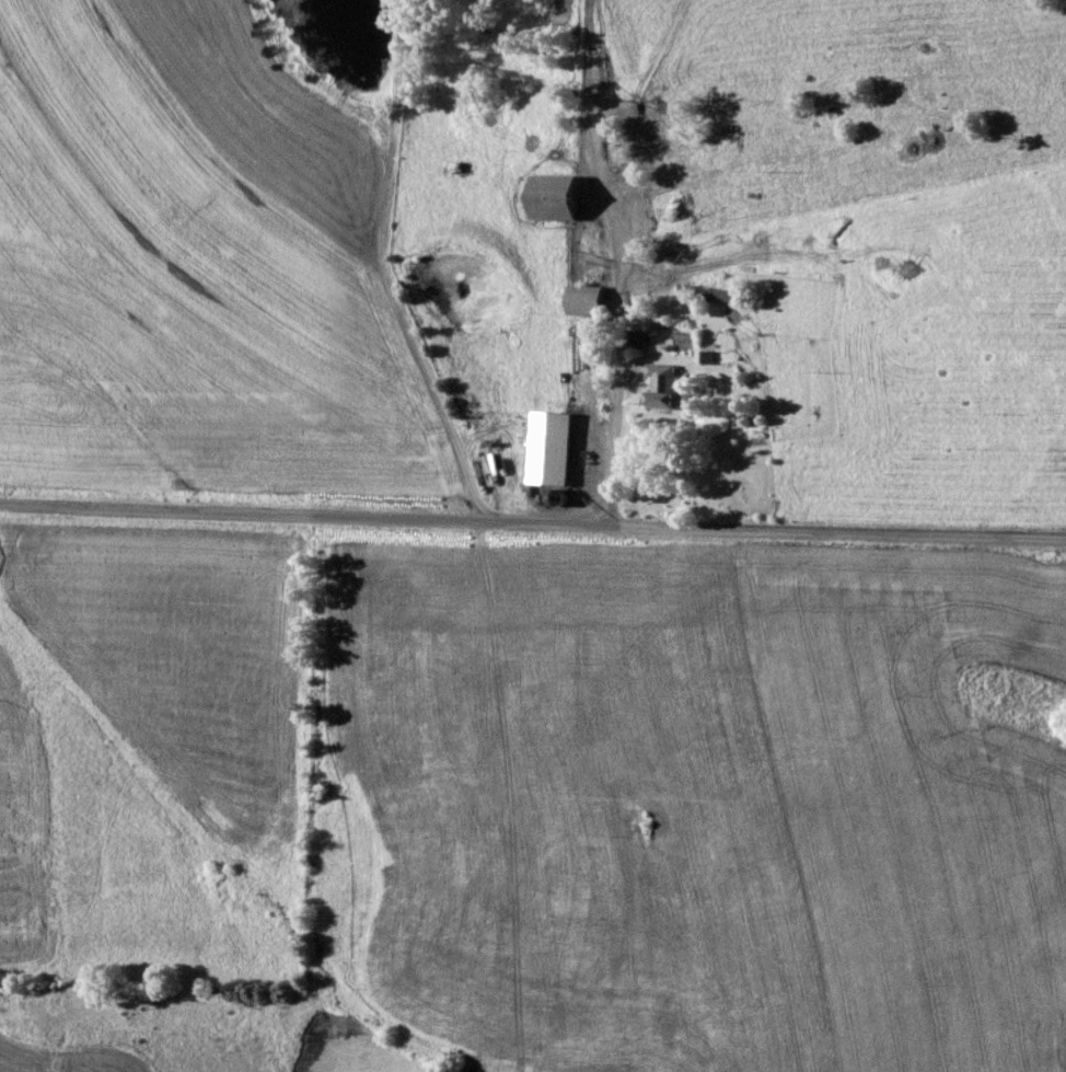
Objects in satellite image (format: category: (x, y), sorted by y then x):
building: (563, 198)
road: (379, 273)
building: (722, 297)
building: (589, 301)
building: (670, 389)
road: (618, 414)
building: (557, 449)
road: (533, 527)
crop: (157, 752)

